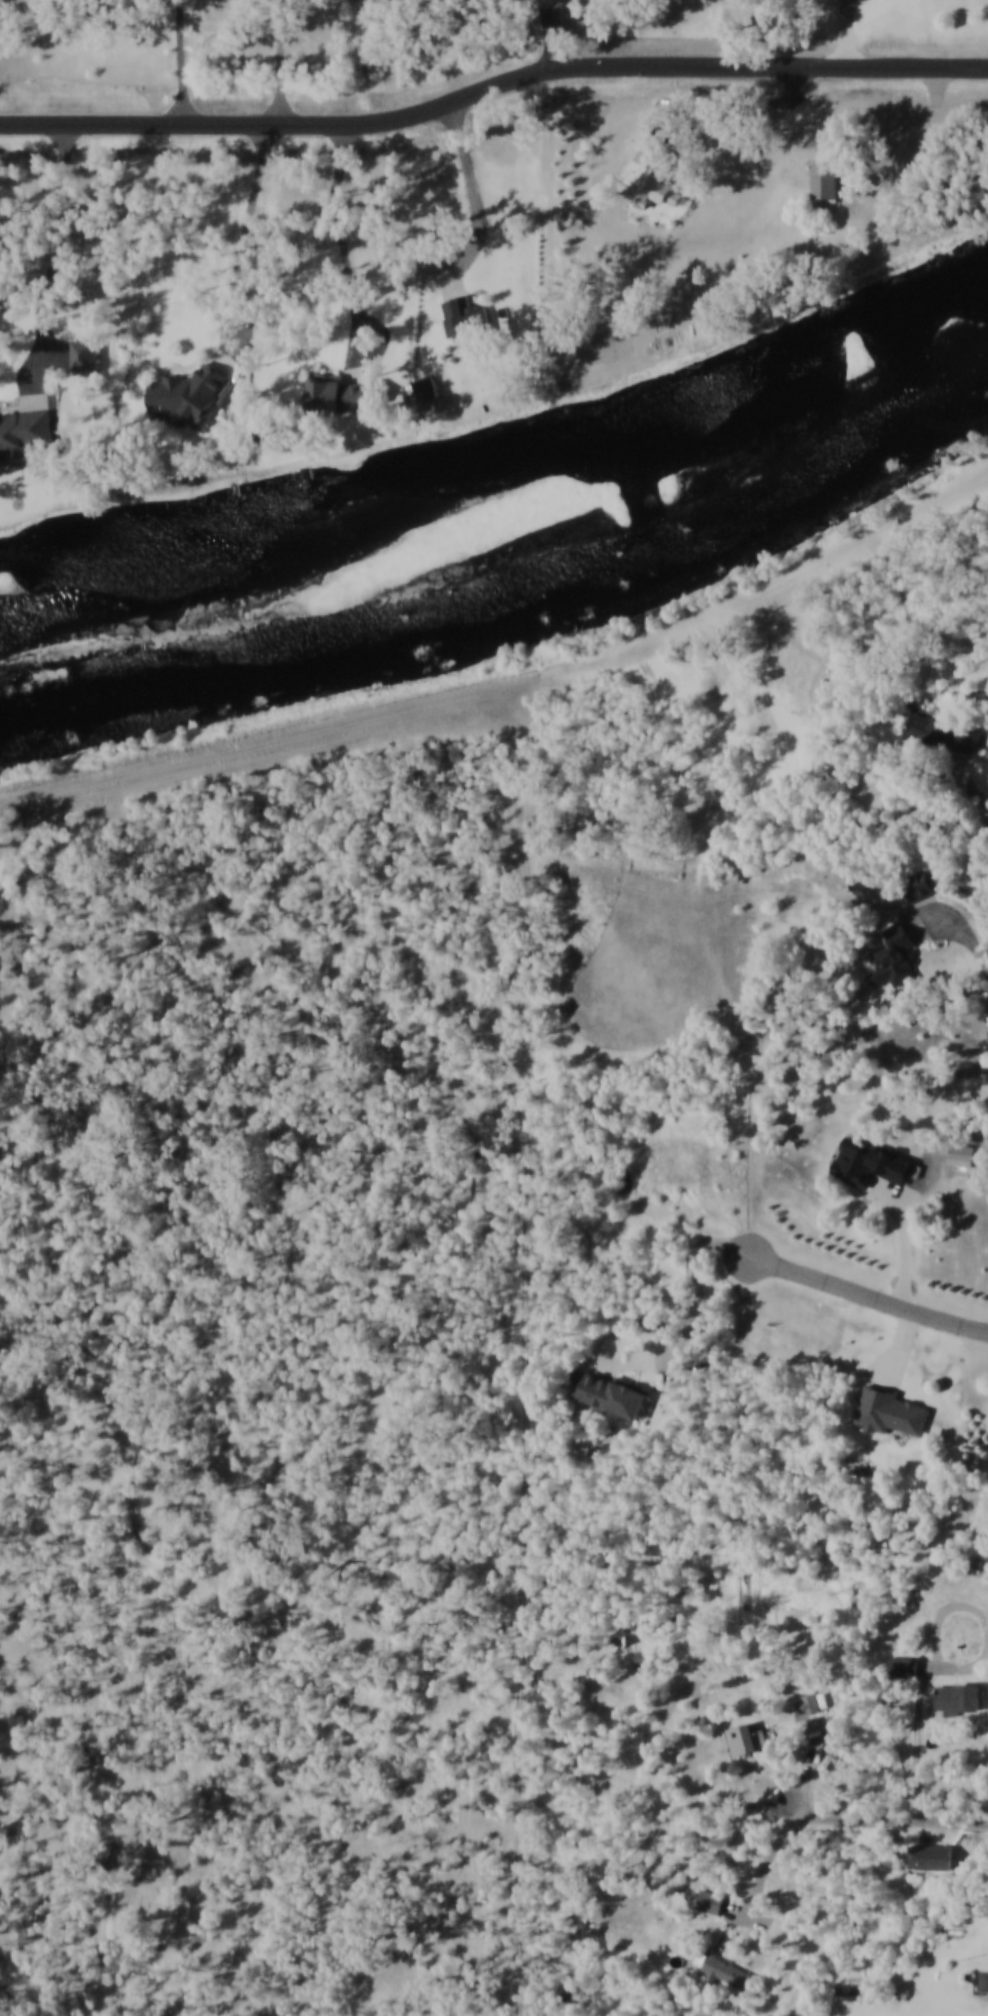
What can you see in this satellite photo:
road: (847, 33)
road: (556, 35)
road: (182, 63)
road: (280, 63)
road: (493, 90)
road: (736, 103)
road: (820, 126)
building: (656, 167)
building: (829, 179)
road: (479, 205)
road: (244, 248)
road: (344, 252)
road: (58, 255)
building: (468, 317)
road: (249, 334)
road: (388, 334)
building: (85, 354)
road: (36, 382)
building: (428, 388)
building: (188, 393)
building: (347, 393)
building: (232, 394)
building: (25, 431)
river: (505, 453)
river: (646, 494)
river: (506, 610)
building: (978, 698)
building: (946, 733)
road: (969, 778)
building: (858, 877)
building: (918, 888)
road: (931, 911)
road: (961, 931)
building: (900, 957)
road: (510, 1086)
building: (966, 1151)
building: (864, 1160)
road: (902, 1241)
road: (870, 1294)
road: (693, 1319)
road: (902, 1350)
building: (614, 1399)
building: (892, 1414)
building: (623, 1639)
road: (932, 1640)
building: (640, 1657)
building: (901, 1663)
building: (956, 1700)
building: (811, 1707)
building: (812, 1731)
building: (750, 1742)
road: (894, 1821)
road: (783, 1840)
building: (940, 1860)
building: (715, 1905)
building: (732, 1975)
building: (985, 1979)

